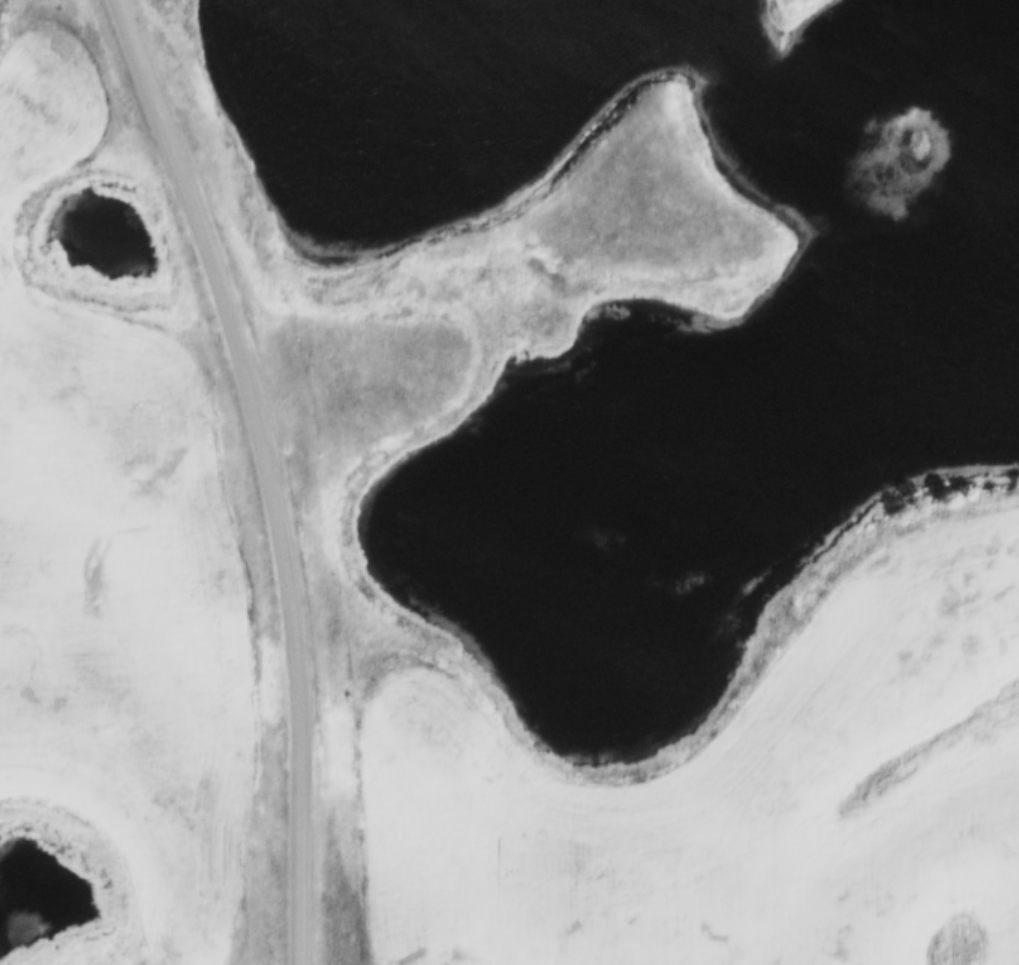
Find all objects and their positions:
road: (267, 471)

